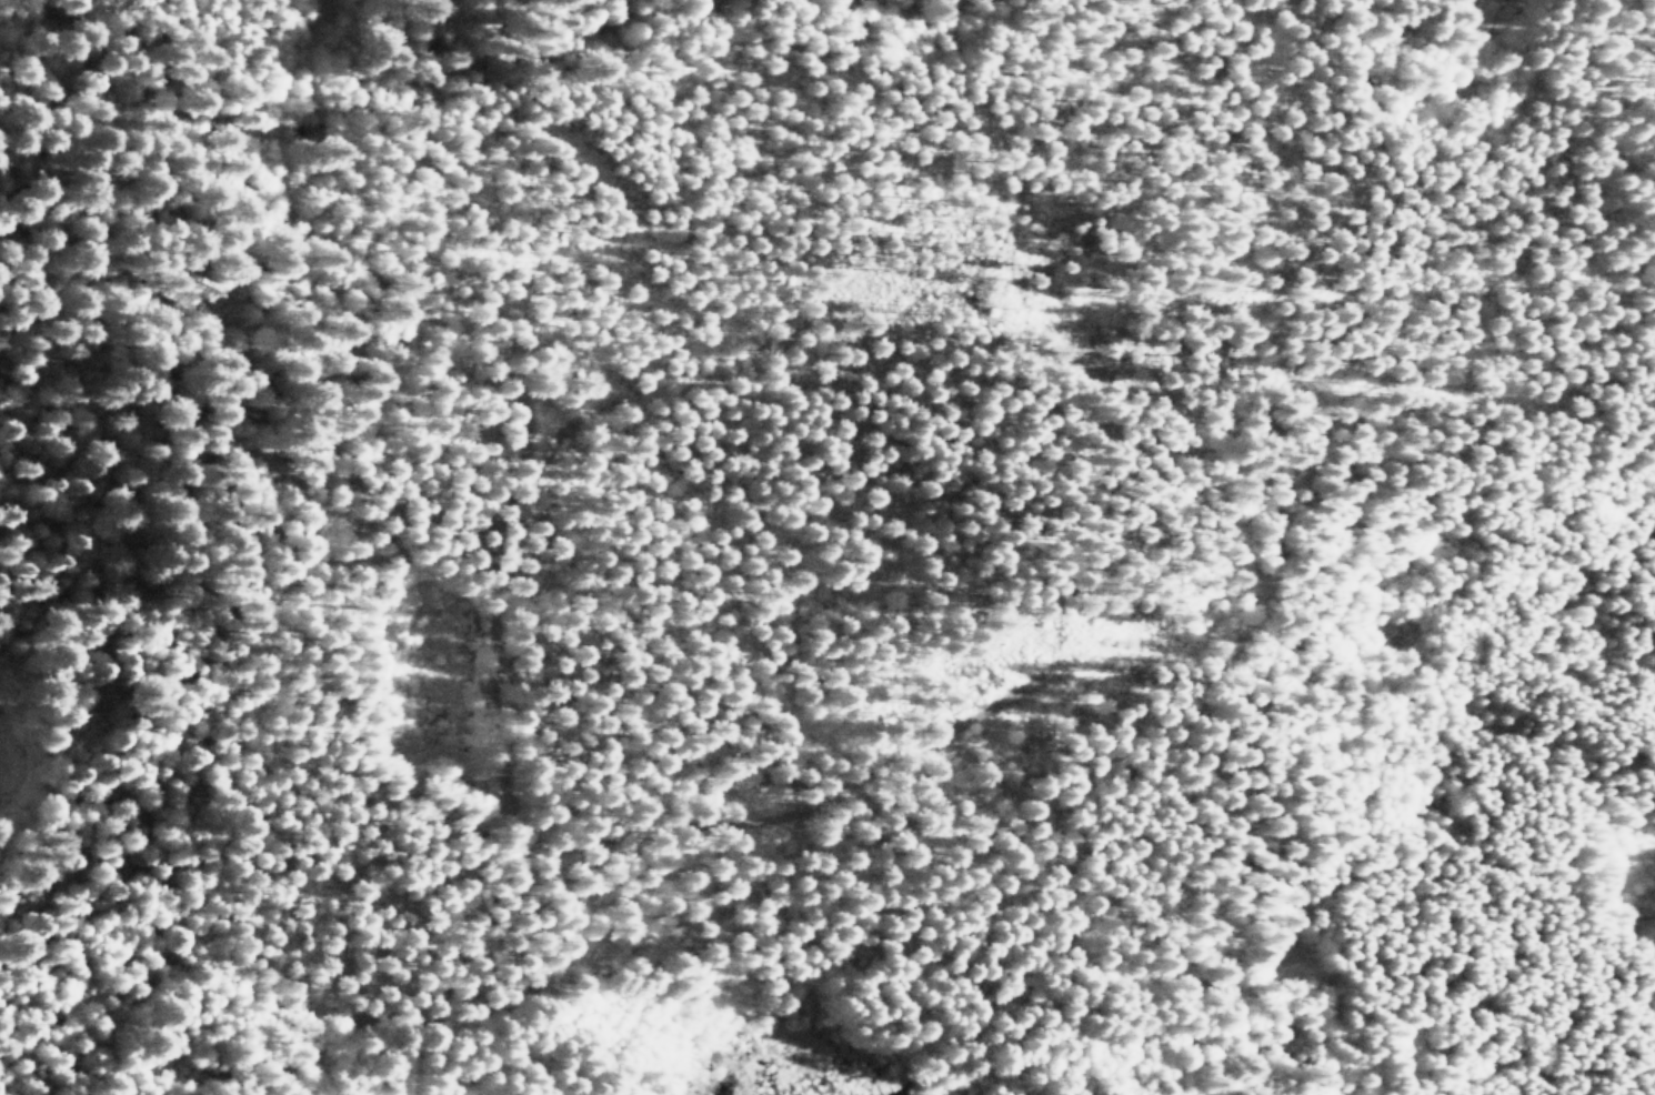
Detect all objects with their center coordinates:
road: (492, 542)

